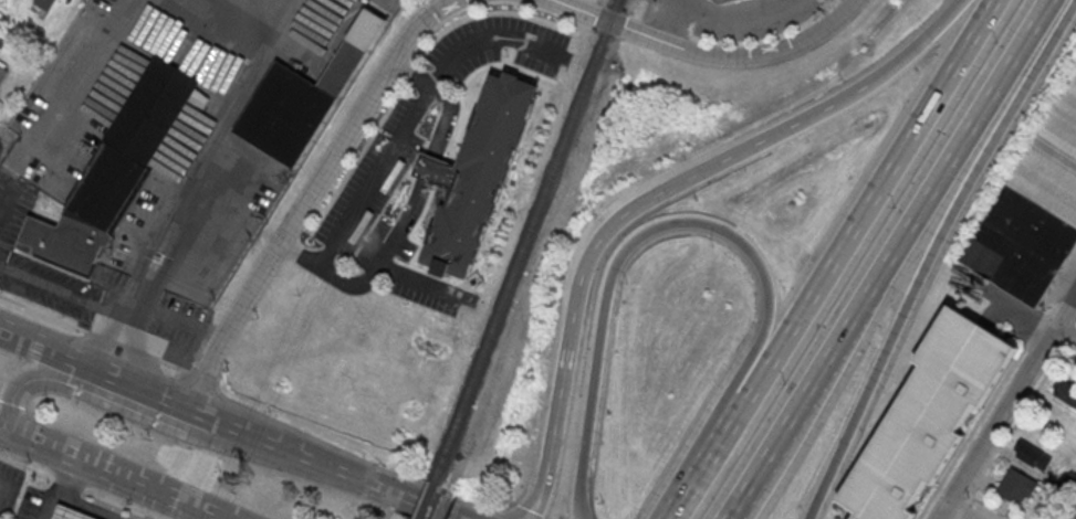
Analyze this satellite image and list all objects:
building: (720, 0)
building: (45, 4)
road: (738, 19)
road: (669, 20)
road: (483, 40)
road: (921, 43)
road: (707, 54)
building: (2, 73)
building: (305, 94)
road: (1, 119)
building: (115, 170)
building: (477, 171)
road: (378, 174)
road: (311, 193)
building: (1033, 210)
road: (690, 220)
road: (605, 230)
railway: (530, 243)
road: (930, 255)
road: (887, 259)
road: (829, 261)
road: (46, 284)
road: (44, 308)
road: (104, 309)
road: (1065, 330)
road: (103, 332)
road: (121, 339)
road: (101, 341)
road: (42, 345)
road: (143, 348)
road: (176, 361)
road: (203, 372)
road: (147, 386)
building: (1067, 393)
road: (1004, 404)
road: (145, 412)
building: (927, 416)
road: (1015, 420)
road: (11, 432)
road: (253, 432)
road: (315, 434)
traffic signals: (22, 437)
building: (1031, 455)
road: (111, 474)
power tower: (246, 474)
road: (353, 476)
road: (73, 478)
road: (81, 485)
building: (1016, 485)
parking lot: (9, 486)
road: (3, 487)
road: (440, 489)
road: (50, 502)
railway: (430, 502)
road: (474, 502)
road: (92, 506)
road: (964, 508)
road: (1069, 509)
road: (433, 510)
building: (72, 512)
road: (505, 512)
road: (198, 515)
road: (209, 515)
building: (1075, 518)

